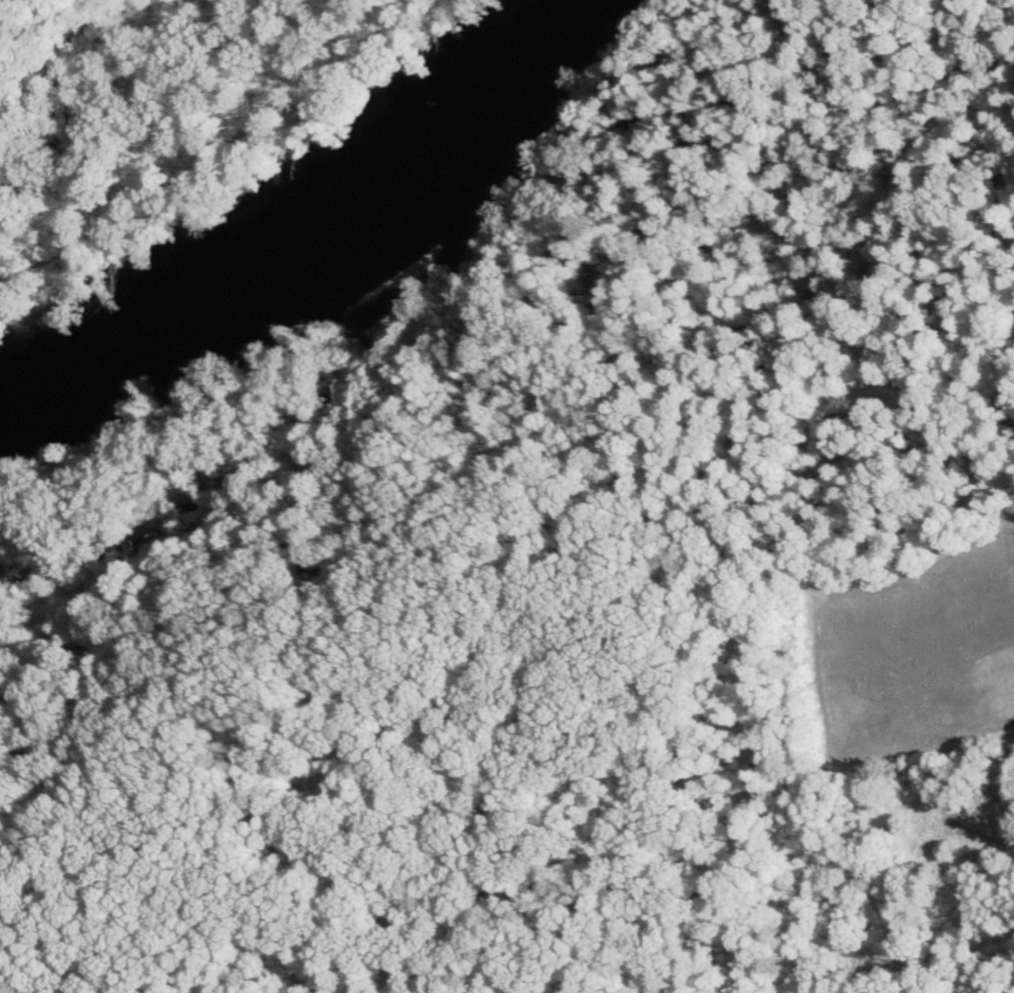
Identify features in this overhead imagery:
river: (316, 231)

